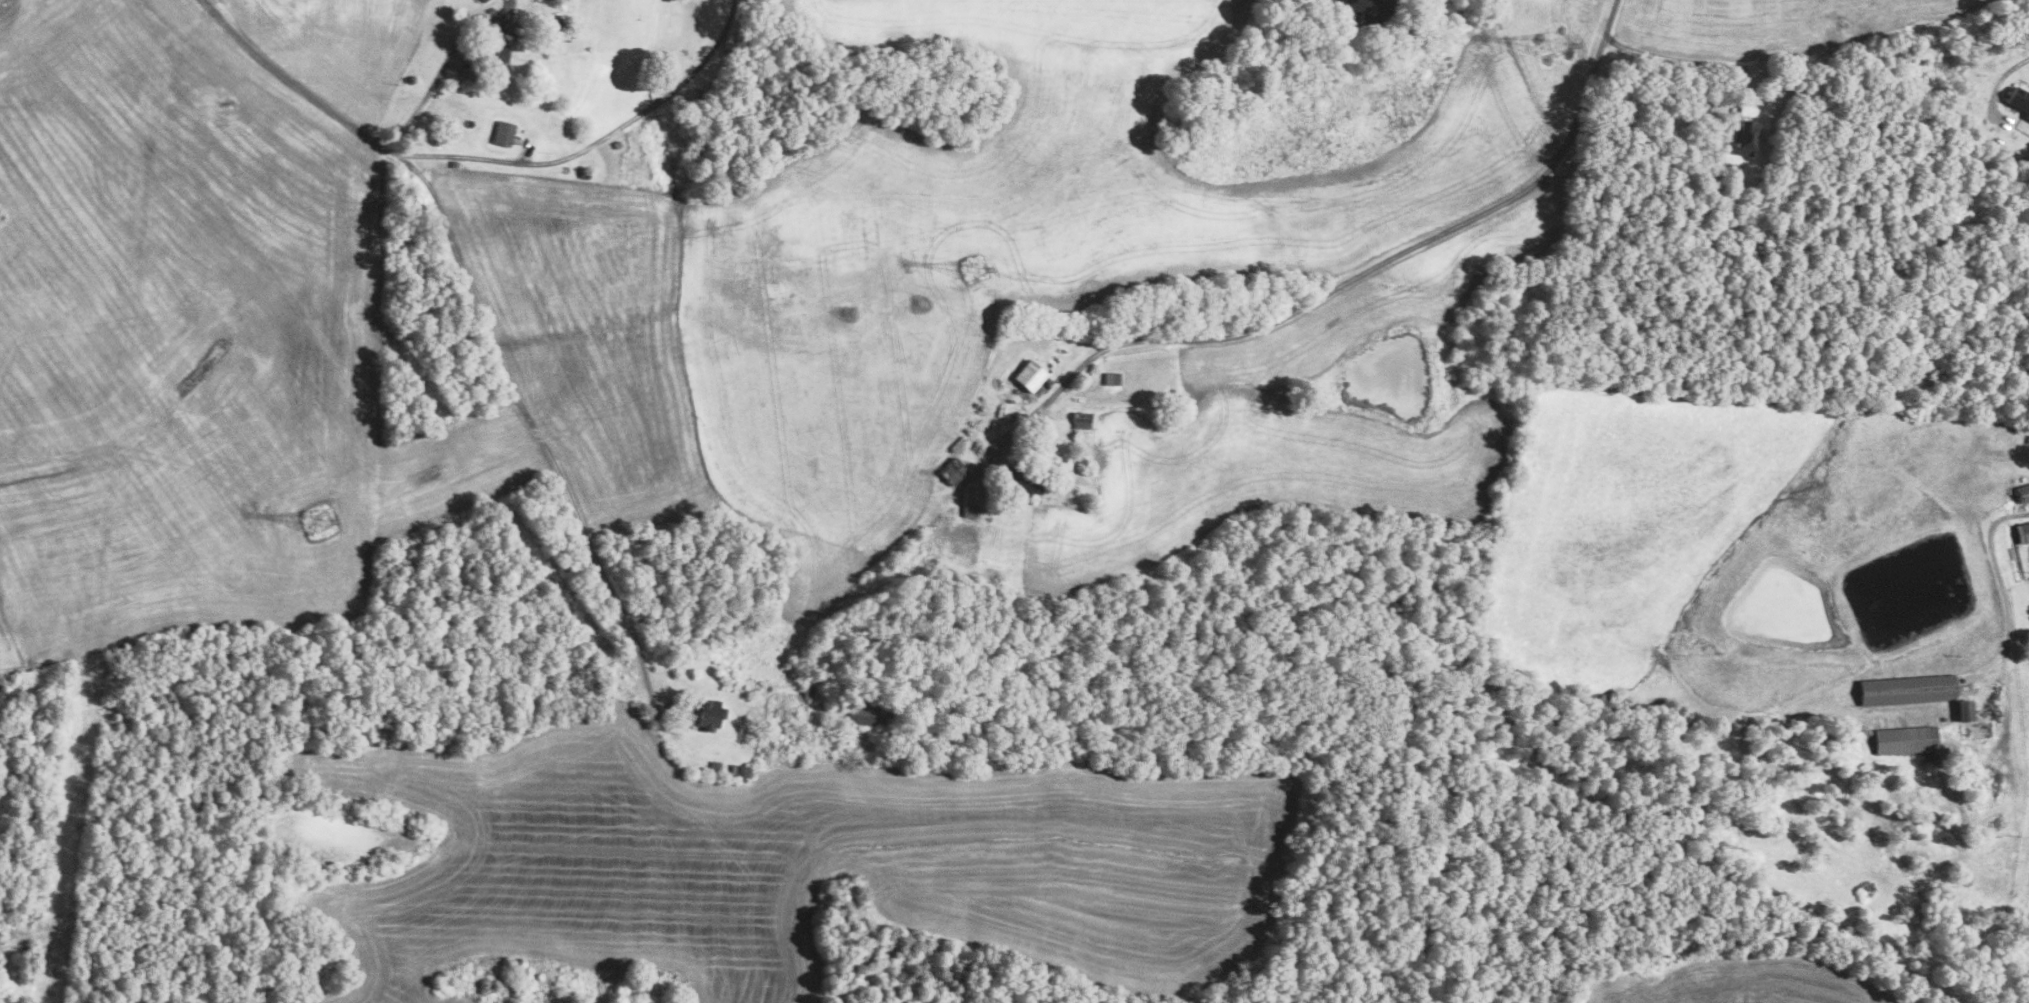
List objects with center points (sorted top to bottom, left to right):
building: (0, 0)
building: (479, 0)
building: (483, 1)
building: (1370, 10)
building: (771, 12)
building: (557, 22)
crop: (1775, 23)
power tower: (1552, 42)
crop: (339, 46)
building: (495, 53)
road: (1689, 60)
road: (442, 66)
road: (288, 78)
road: (2012, 78)
building: (2019, 100)
building: (504, 134)
building: (1746, 137)
building: (617, 145)
road: (588, 147)
building: (454, 165)
building: (585, 174)
crop: (1005, 248)
power tower: (972, 273)
road: (1358, 274)
crop: (587, 334)
crop: (194, 345)
building: (1031, 374)
building: (1112, 377)
road: (528, 420)
building: (1082, 420)
crop: (1293, 422)
building: (2028, 438)
building: (996, 461)
building: (953, 470)
building: (1023, 480)
building: (2023, 493)
building: (971, 499)
power tower: (320, 522)
crop: (1630, 526)
building: (2023, 533)
crop: (0, 675)
building: (808, 690)
building: (1907, 690)
building: (672, 709)
building: (1967, 709)
building: (711, 714)
building: (877, 714)
building: (1906, 739)
building: (716, 764)
building: (740, 770)
crop: (809, 864)
road: (22, 938)

